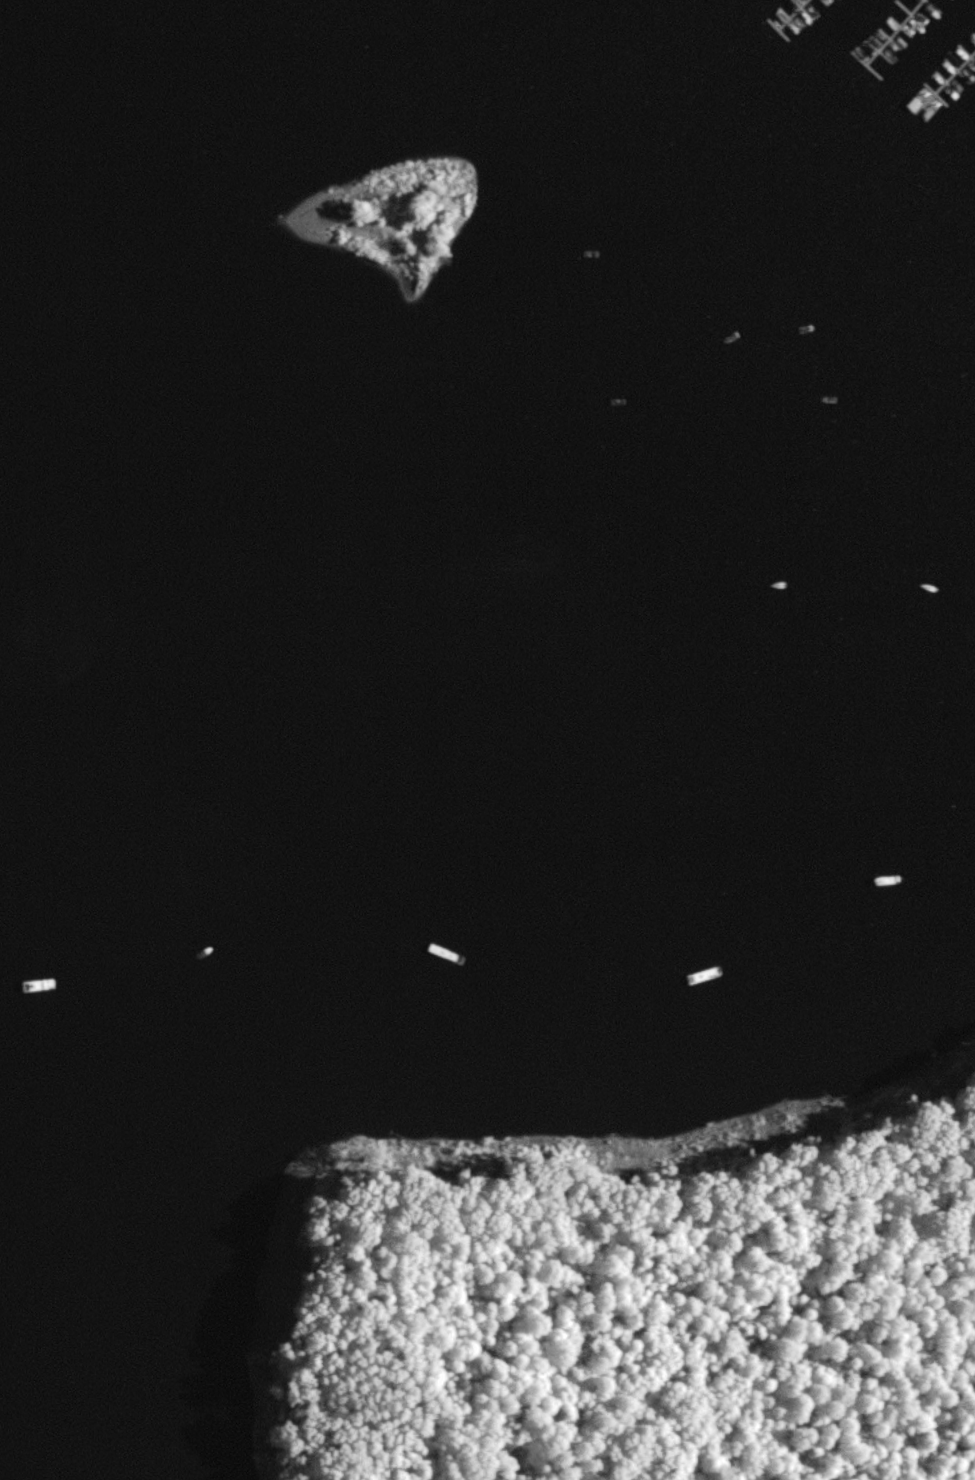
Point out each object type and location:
road: (898, 1416)

